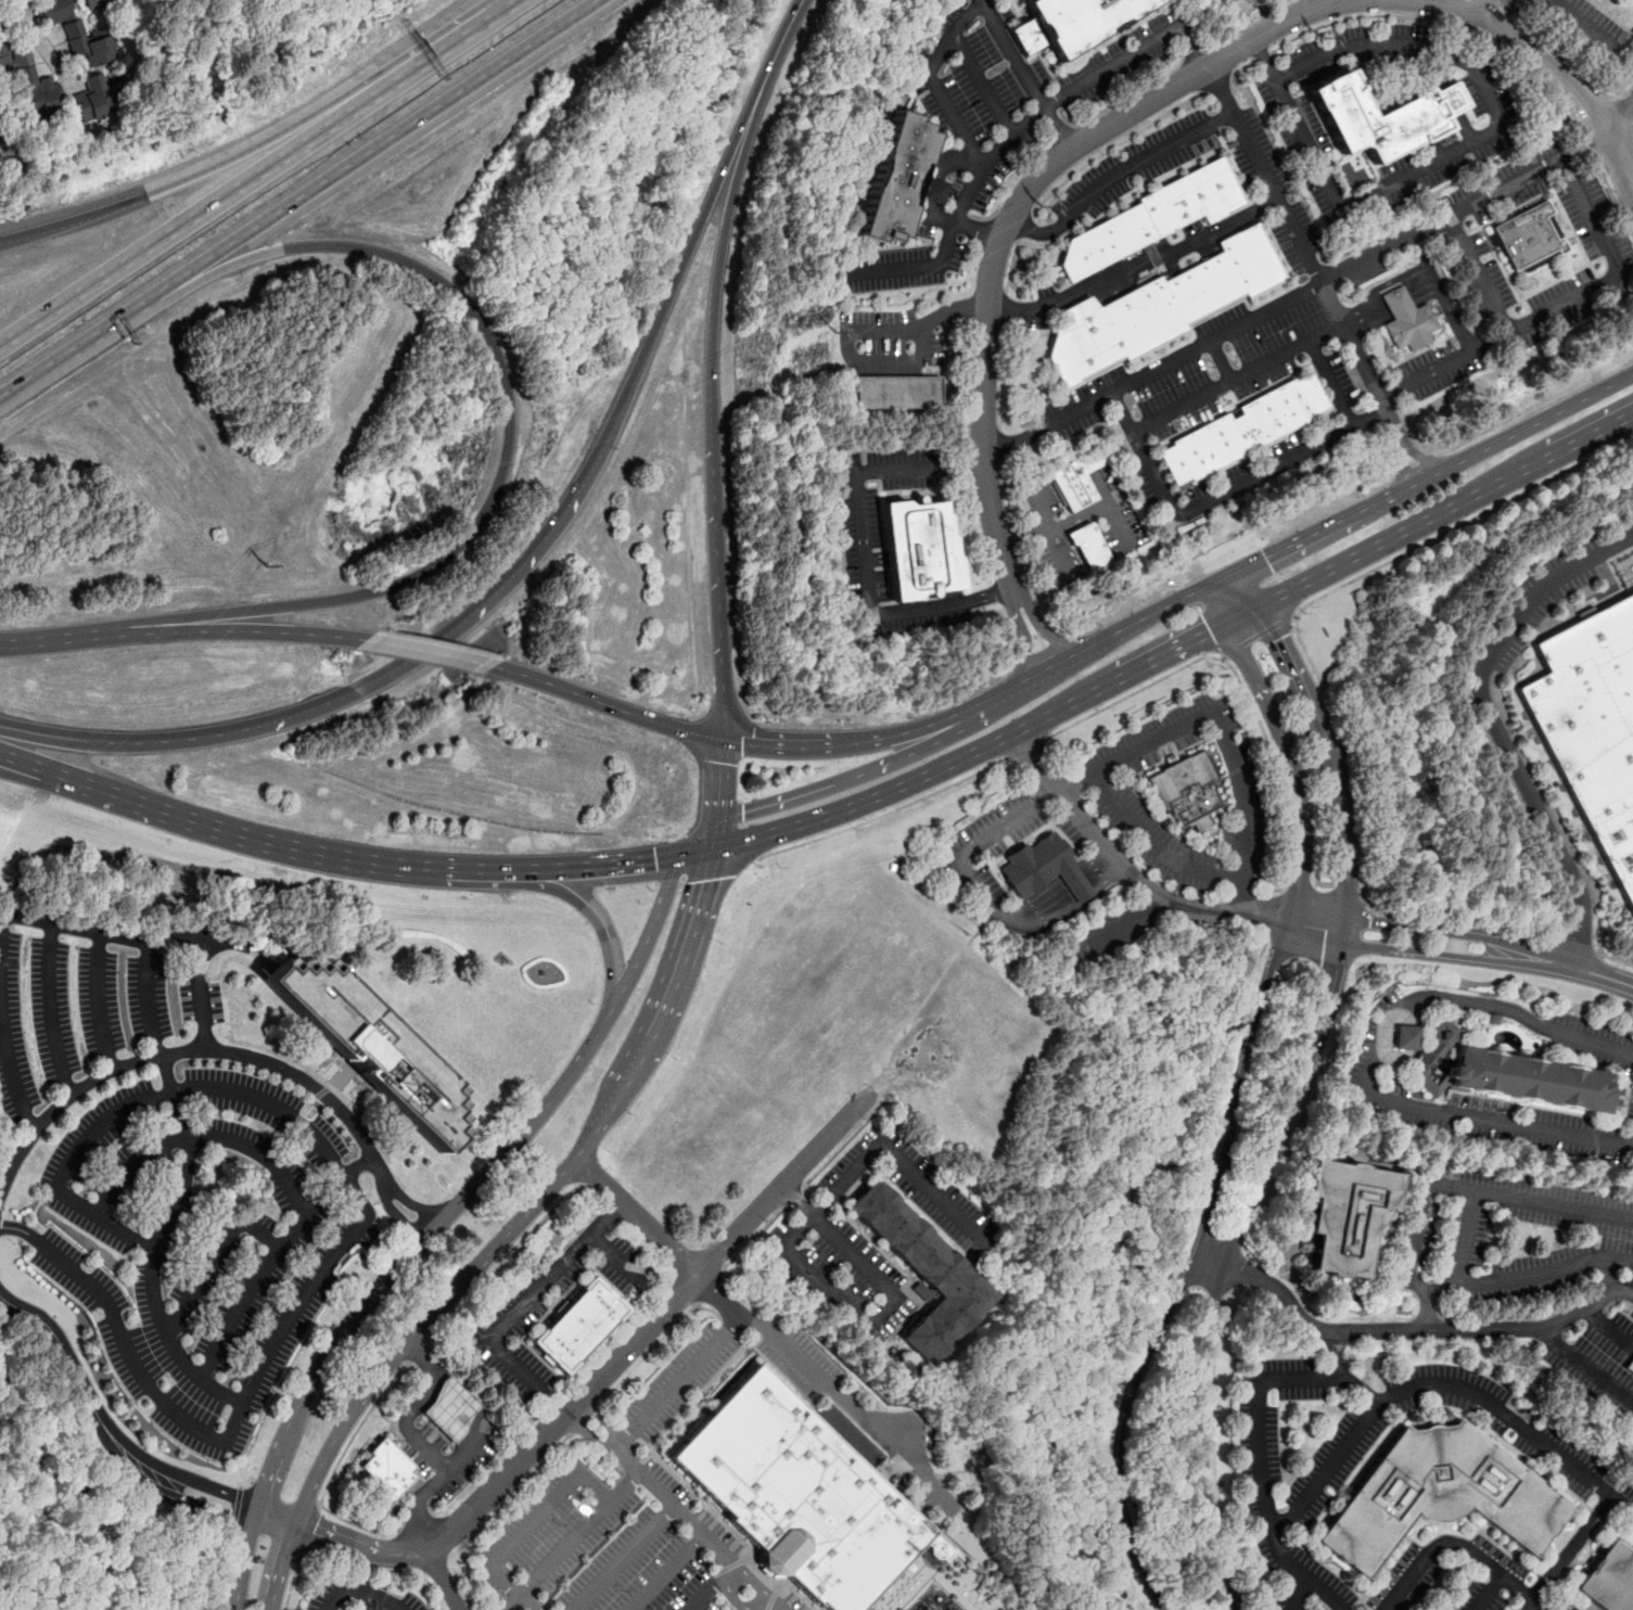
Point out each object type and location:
road: (979, 0)
building: (1225, 1)
building: (98, 3)
road: (1434, 3)
road: (1459, 3)
road: (973, 7)
road: (1483, 8)
road: (14, 13)
road: (1352, 17)
building: (1081, 20)
road: (1583, 22)
road: (1455, 24)
building: (77, 33)
road: (777, 52)
road: (1261, 53)
road: (437, 54)
road: (1542, 56)
road: (1243, 64)
road: (1533, 72)
road: (1440, 77)
road: (1216, 80)
building: (29, 84)
road: (981, 85)
road: (1618, 95)
building: (90, 99)
building: (1453, 100)
road: (1620, 116)
building: (1377, 120)
parking lot: (996, 123)
road: (1012, 133)
road: (1587, 139)
road: (1620, 141)
road: (375, 145)
road: (1110, 145)
road: (1457, 149)
road: (251, 150)
parking lot: (1252, 150)
parking lot: (1137, 164)
parking lot: (1507, 168)
road: (1616, 170)
road: (940, 174)
road: (1115, 175)
building: (897, 178)
road: (1268, 180)
building: (933, 190)
road: (1610, 194)
road: (731, 195)
road: (1019, 200)
parking lot: (1511, 200)
road: (707, 207)
building: (1154, 217)
road: (74, 218)
parking lot: (1578, 222)
road: (178, 226)
road: (1023, 226)
building: (1524, 234)
parking lot: (1298, 237)
road: (1011, 265)
road: (917, 266)
road: (1136, 266)
road: (219, 268)
parking lot: (1493, 268)
road: (1479, 273)
parking lot: (1465, 280)
parking lot: (1624, 284)
parking lot: (1559, 287)
road: (1442, 291)
road: (1389, 301)
building: (1395, 301)
road: (1558, 305)
road: (1005, 306)
building: (1161, 307)
building: (1409, 327)
road: (854, 331)
parking lot: (890, 336)
power tower: (831, 342)
road: (78, 344)
parking lot: (1423, 357)
parking lot: (1341, 373)
parking lot: (1192, 374)
road: (1002, 375)
road: (1237, 376)
building: (897, 391)
road: (1112, 392)
road: (1496, 421)
road: (1528, 426)
building: (1243, 429)
road: (999, 444)
road: (1544, 458)
road: (1421, 461)
parking lot: (1242, 468)
road: (1403, 470)
parking lot: (1143, 482)
building: (1069, 486)
road: (1007, 490)
road: (1221, 495)
road: (490, 496)
road: (714, 512)
road: (1329, 525)
road: (1055, 527)
road: (1016, 534)
parking lot: (885, 542)
building: (921, 546)
building: (1090, 547)
road: (1094, 549)
road: (1245, 549)
road: (1356, 554)
road: (1399, 554)
traffic signals: (1266, 557)
power tower: (278, 562)
road: (510, 578)
road: (1246, 589)
road: (1037, 593)
road: (1159, 610)
road: (1042, 628)
road: (252, 630)
traffic signals: (1211, 631)
road: (1256, 634)
road: (1023, 635)
road: (64, 637)
traffic signals: (1276, 641)
road: (428, 650)
road: (1160, 657)
road: (1019, 681)
road: (1241, 689)
road: (600, 702)
road: (1493, 724)
road: (921, 727)
building: (1586, 727)
road: (1216, 728)
road: (120, 741)
traffic signals: (742, 744)
road: (1285, 745)
road: (804, 748)
road: (1026, 749)
road: (1329, 755)
road: (1347, 758)
traffic signals: (719, 762)
road: (28, 763)
road: (28, 768)
road: (841, 780)
road: (718, 781)
parking lot: (1103, 787)
road: (893, 789)
building: (1185, 790)
road: (904, 804)
traffic signals: (742, 812)
road: (715, 835)
road: (694, 836)
road: (283, 842)
road: (981, 842)
road: (1154, 843)
road: (696, 851)
traffic signals: (654, 858)
road: (599, 864)
building: (1043, 868)
road: (1126, 869)
traffic signals: (706, 881)
road: (1057, 897)
road: (1389, 911)
road: (1276, 912)
road: (1317, 920)
road: (596, 922)
road: (1315, 931)
road: (1341, 931)
road: (1438, 931)
road: (122, 936)
road: (648, 936)
road: (1572, 944)
road: (1434, 953)
road: (1616, 960)
road: (1549, 962)
road: (1600, 975)
road: (200, 992)
road: (93, 1000)
road: (48, 1009)
building: (370, 1046)
road: (187, 1049)
road: (1370, 1058)
building: (1504, 1074)
road: (11, 1078)
road: (841, 1145)
road: (897, 1158)
road: (284, 1178)
road: (337, 1181)
road: (791, 1197)
road: (409, 1201)
road: (395, 1212)
road: (637, 1214)
building: (1343, 1215)
road: (17, 1228)
road: (502, 1236)
road: (1467, 1238)
road: (751, 1239)
road: (1412, 1240)
road: (340, 1252)
road: (615, 1252)
road: (213, 1255)
road: (505, 1262)
road: (1184, 1268)
road: (1224, 1268)
building: (923, 1273)
road: (1604, 1275)
road: (1066, 1281)
road: (379, 1288)
road: (706, 1290)
road: (532, 1293)
road: (719, 1293)
road: (878, 1311)
road: (1426, 1311)
building: (578, 1325)
road: (1607, 1328)
road: (1406, 1330)
road: (659, 1340)
road: (776, 1342)
road: (416, 1351)
road: (1338, 1355)
road: (65, 1356)
road: (1585, 1367)
building: (1632, 1368)
parking garage: (1632, 1368)
road: (133, 1369)
road: (600, 1375)
road: (1328, 1379)
road: (413, 1406)
building: (450, 1408)
road: (585, 1417)
road: (599, 1421)
road: (588, 1433)
road: (234, 1466)
building: (385, 1469)
road: (1327, 1470)
road: (959, 1471)
road: (330, 1478)
road: (200, 1482)
road: (244, 1483)
road: (429, 1486)
parking lot: (684, 1492)
building: (1439, 1494)
building: (799, 1495)
road: (510, 1496)
road: (188, 1500)
road: (1622, 1505)
road: (673, 1506)
road: (543, 1507)
road: (235, 1508)
road: (311, 1529)
road: (1452, 1544)
road: (1568, 1553)
road: (331, 1554)
road: (558, 1556)
road: (622, 1558)
road: (435, 1566)
road: (226, 1569)
road: (667, 1572)
building: (1609, 1580)
road: (445, 1581)
road: (752, 1581)
road: (707, 1588)
road: (362, 1589)
road: (1299, 1593)
road: (1492, 1594)
road: (732, 1600)
road: (1540, 1605)
road: (765, 1607)
road: (771, 1607)

